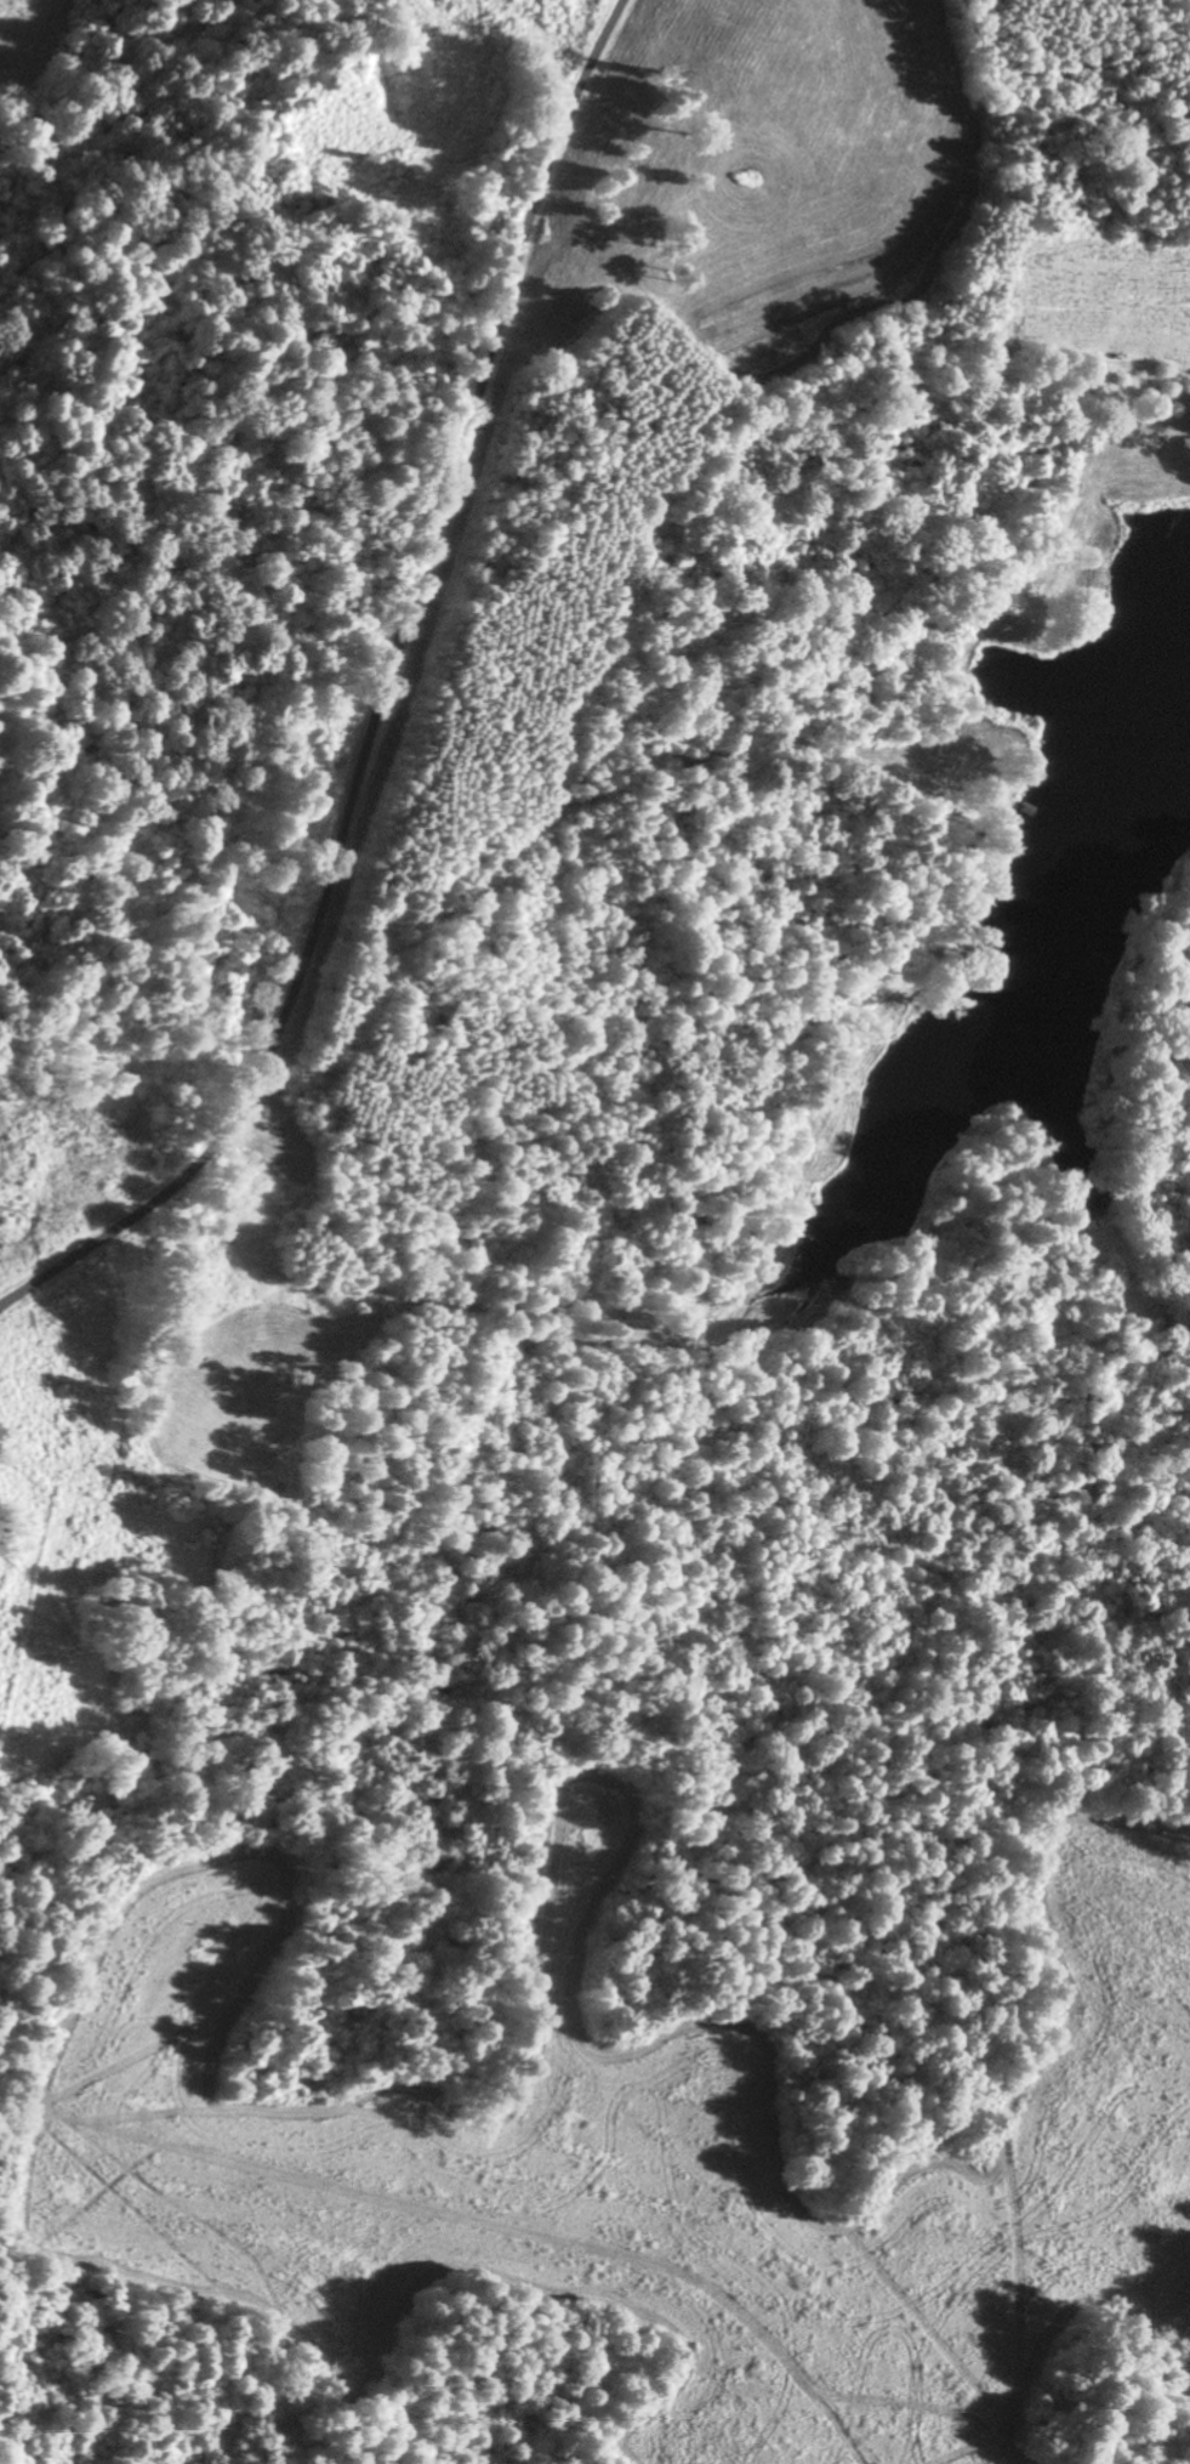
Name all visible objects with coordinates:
road: (383, 705)

